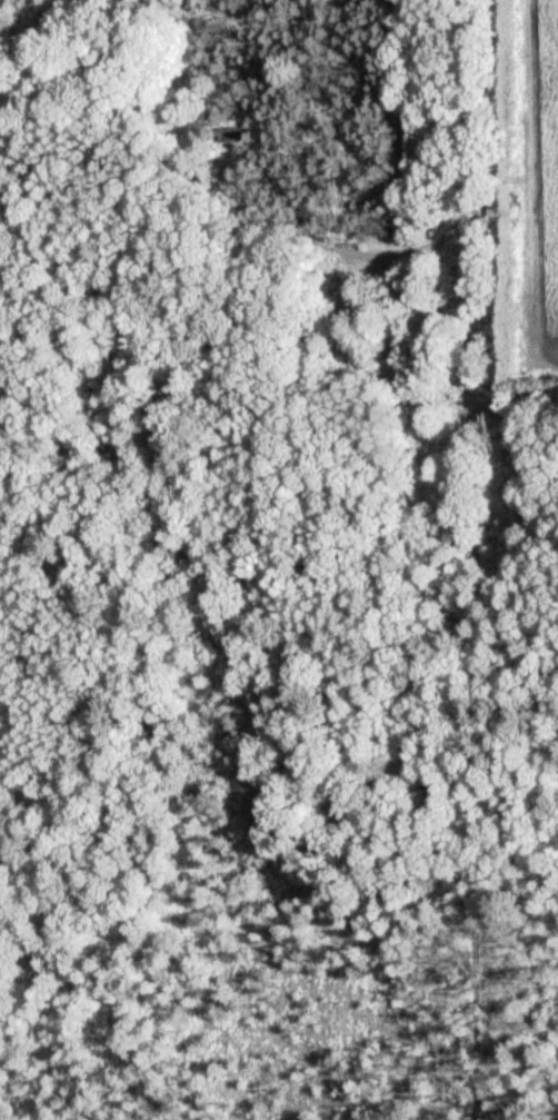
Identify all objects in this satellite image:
road: (482, 19)
road: (479, 912)

